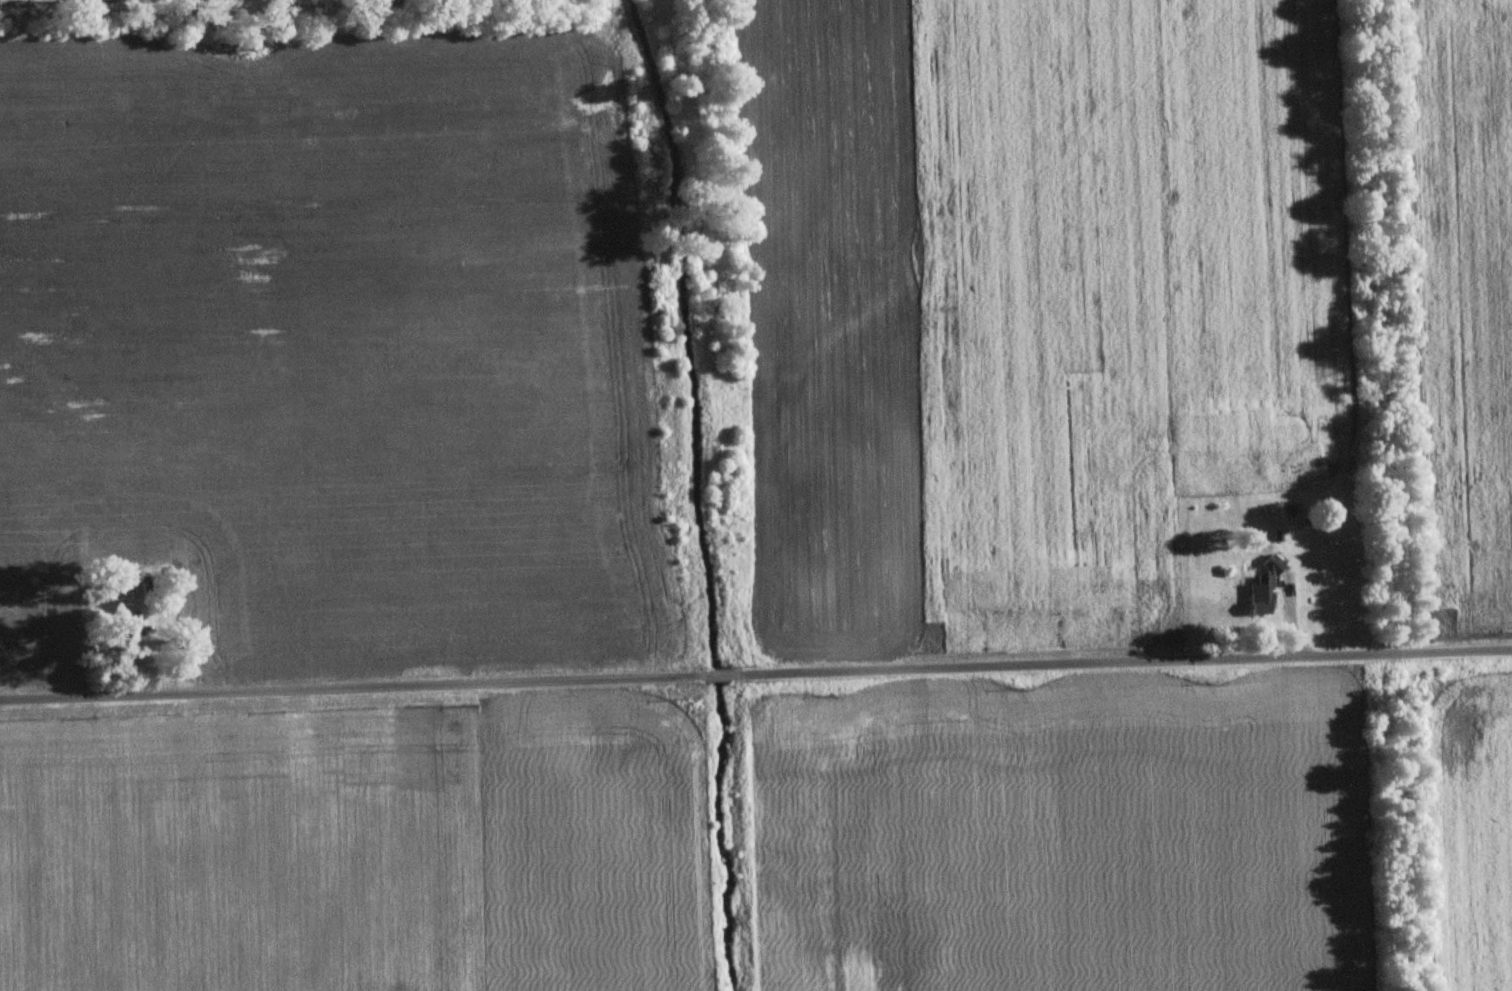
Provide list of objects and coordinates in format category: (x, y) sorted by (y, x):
road: (1118, 662)
road: (716, 675)
road: (353, 687)

